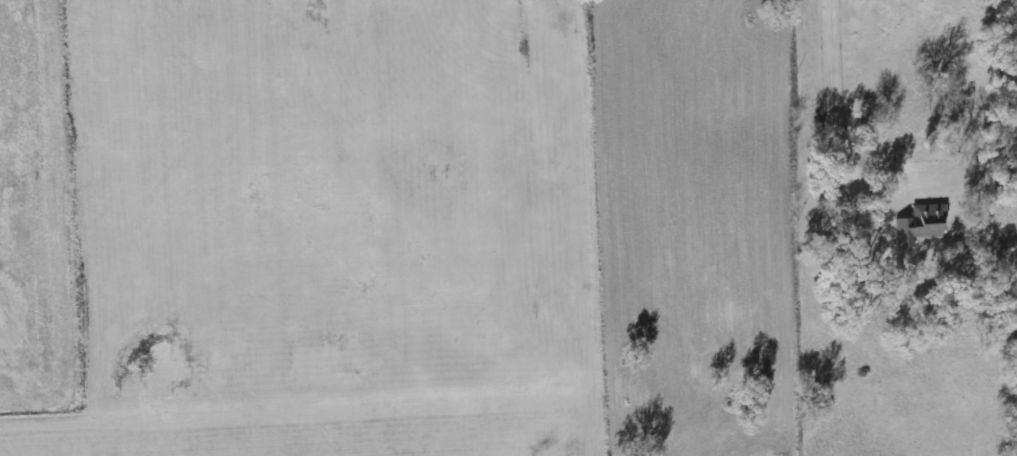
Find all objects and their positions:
building: (922, 225)

